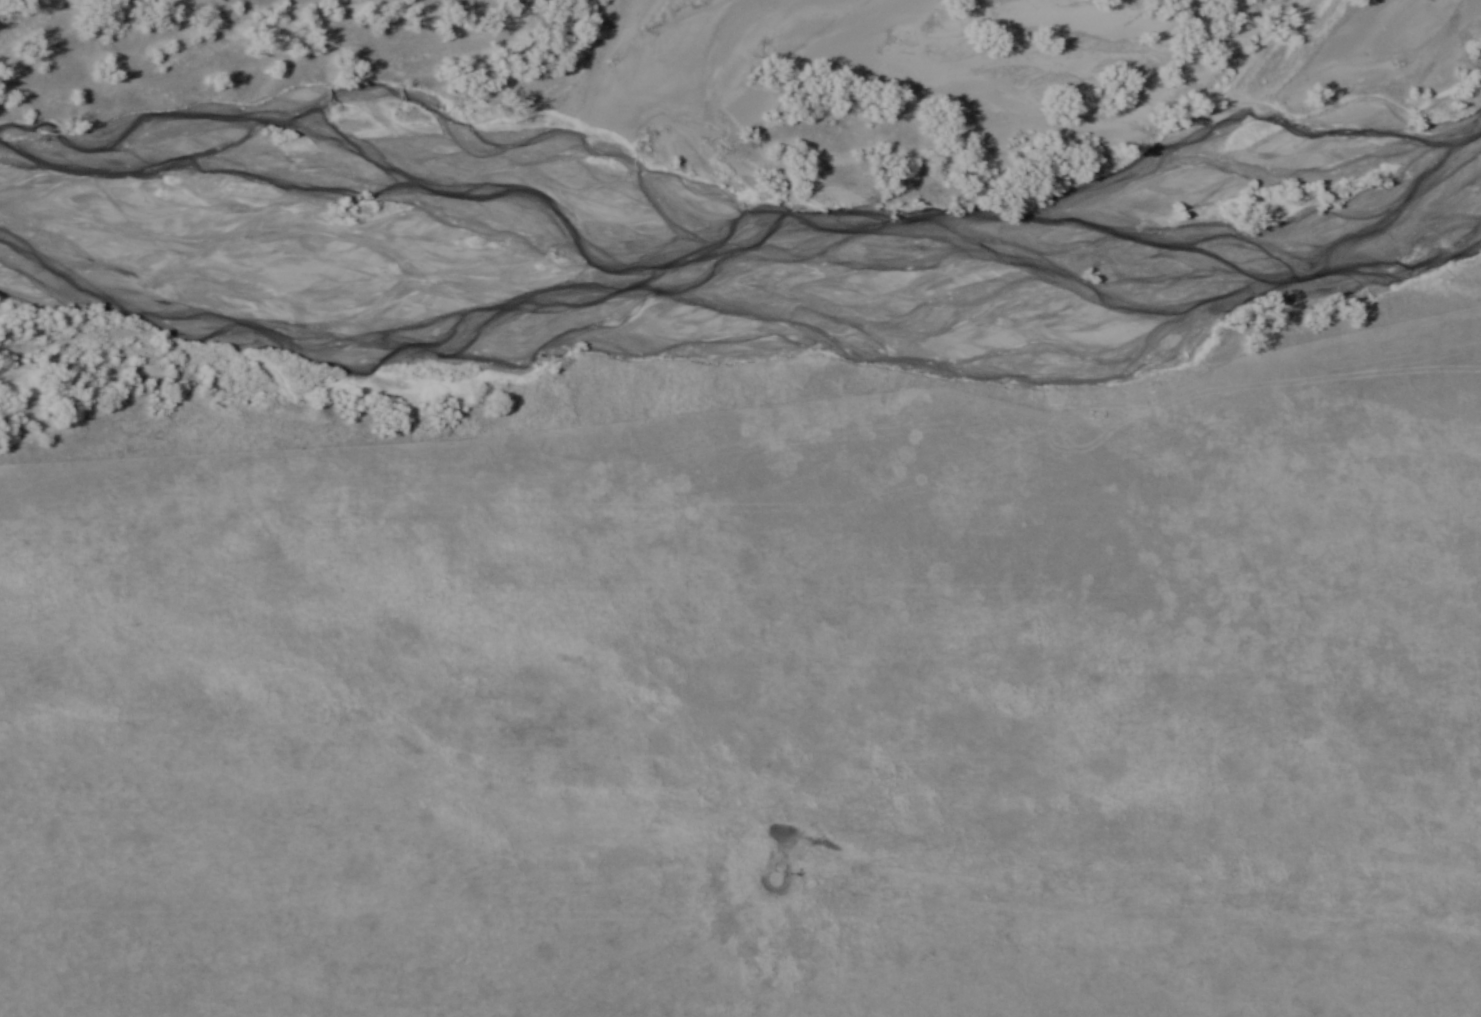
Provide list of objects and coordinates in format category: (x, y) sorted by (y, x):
river: (737, 272)

